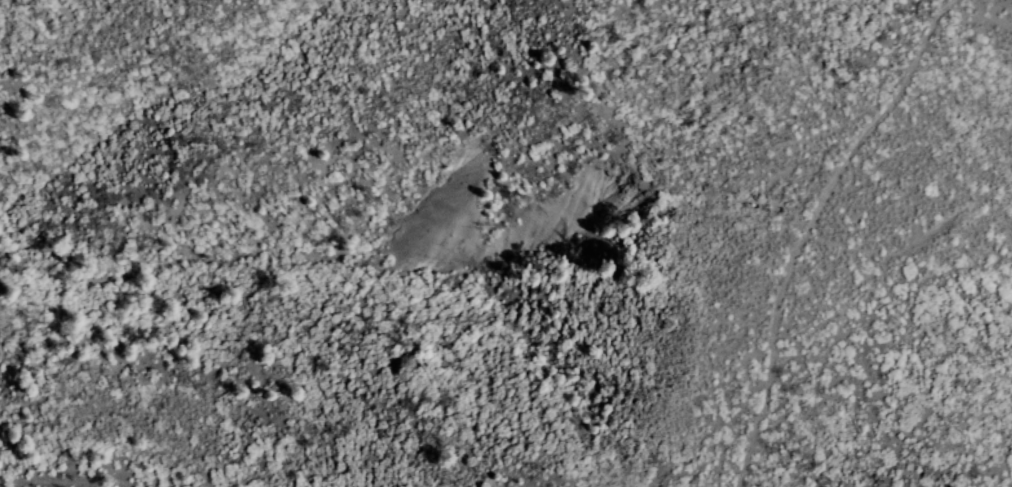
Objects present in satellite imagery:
road: (808, 227)

